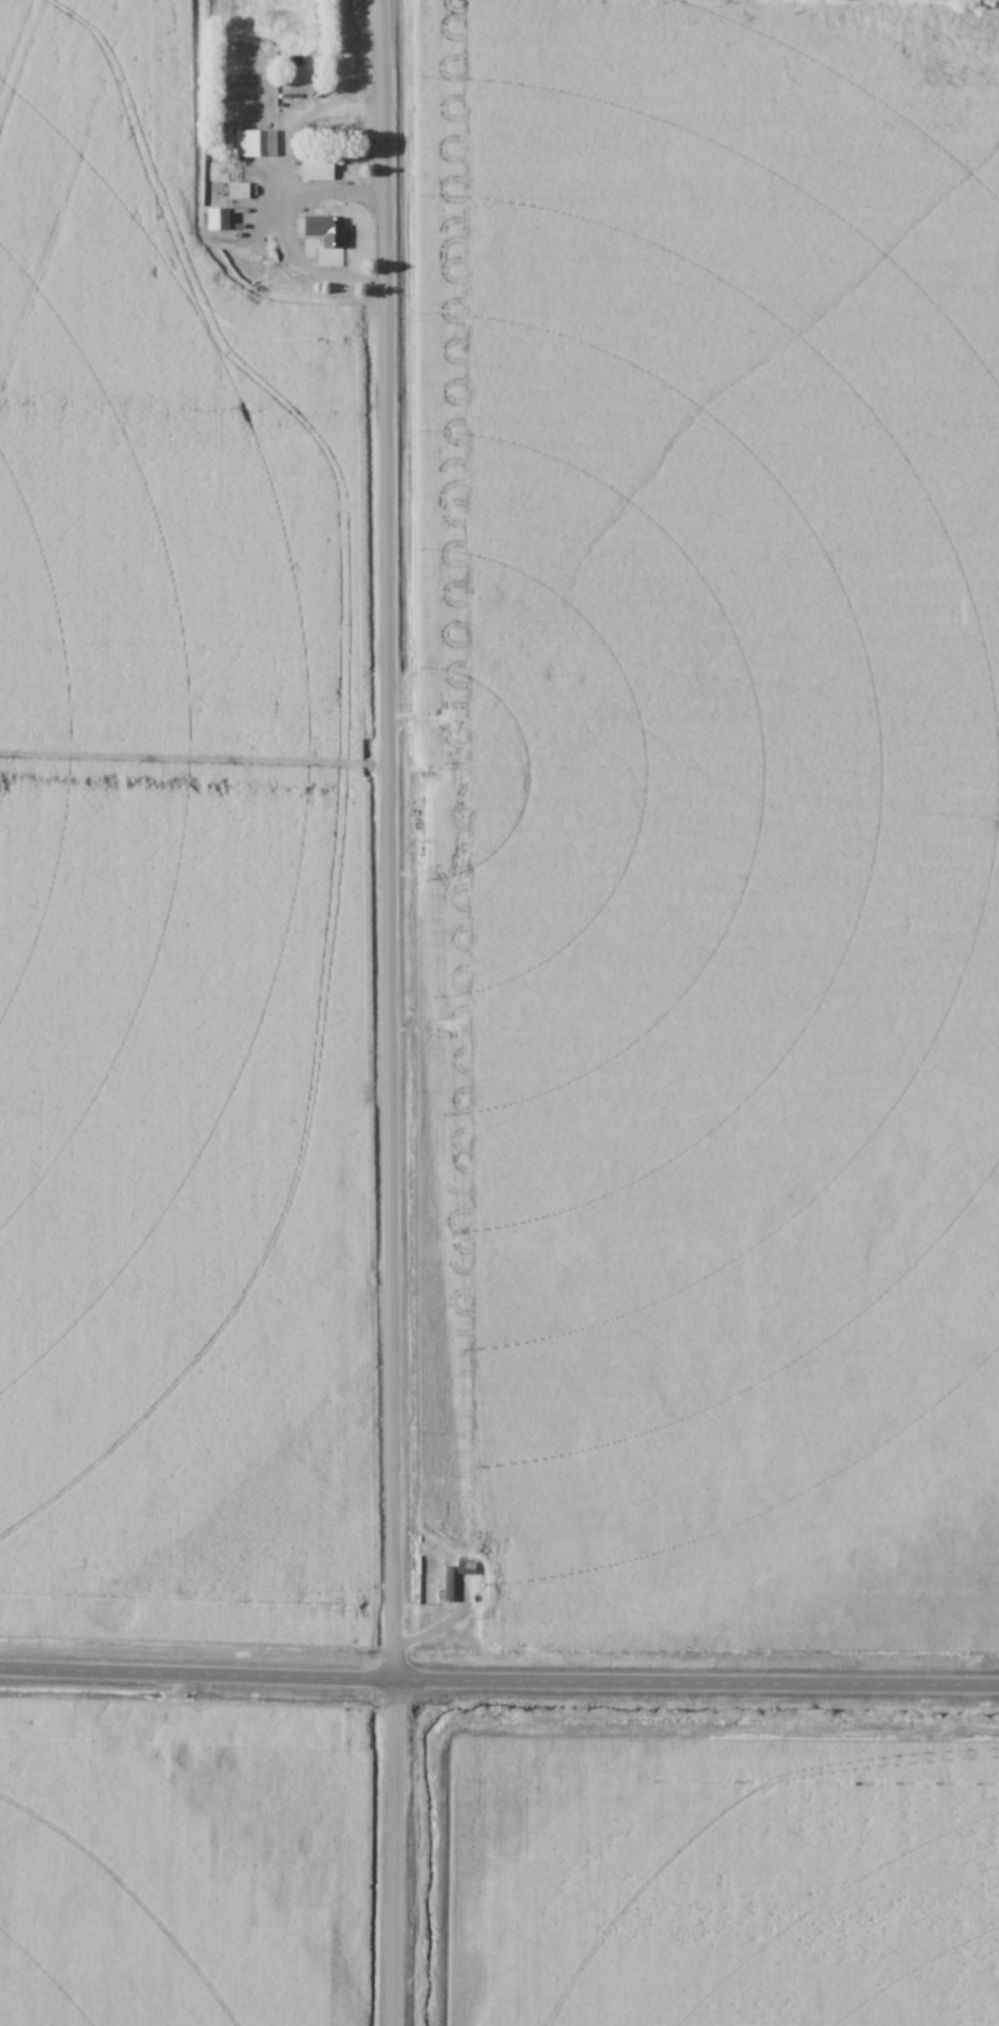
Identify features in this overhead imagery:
building: (256, 144)
building: (319, 169)
building: (240, 191)
building: (220, 218)
road: (287, 234)
building: (335, 244)
building: (211, 255)
road: (384, 1012)
building: (467, 1568)
building: (450, 1585)
road: (499, 1684)

